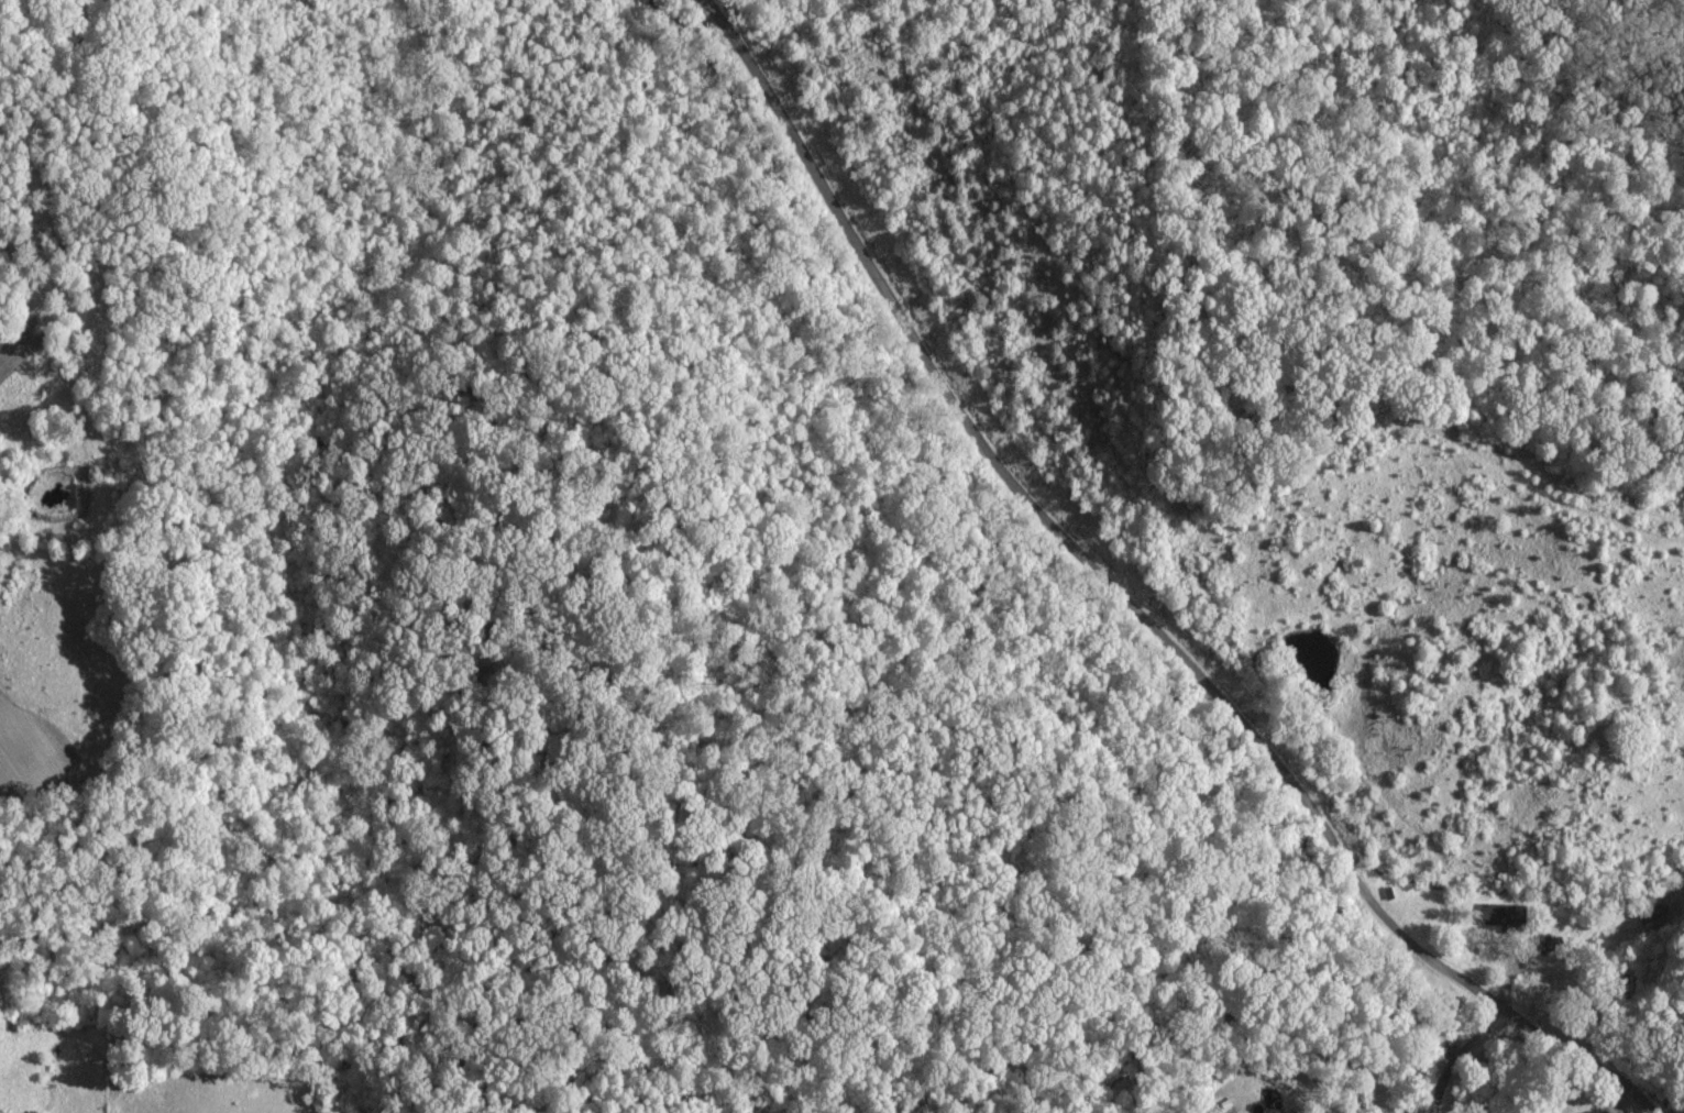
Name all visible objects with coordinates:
road: (1123, 603)
building: (1494, 914)
building: (1542, 943)

